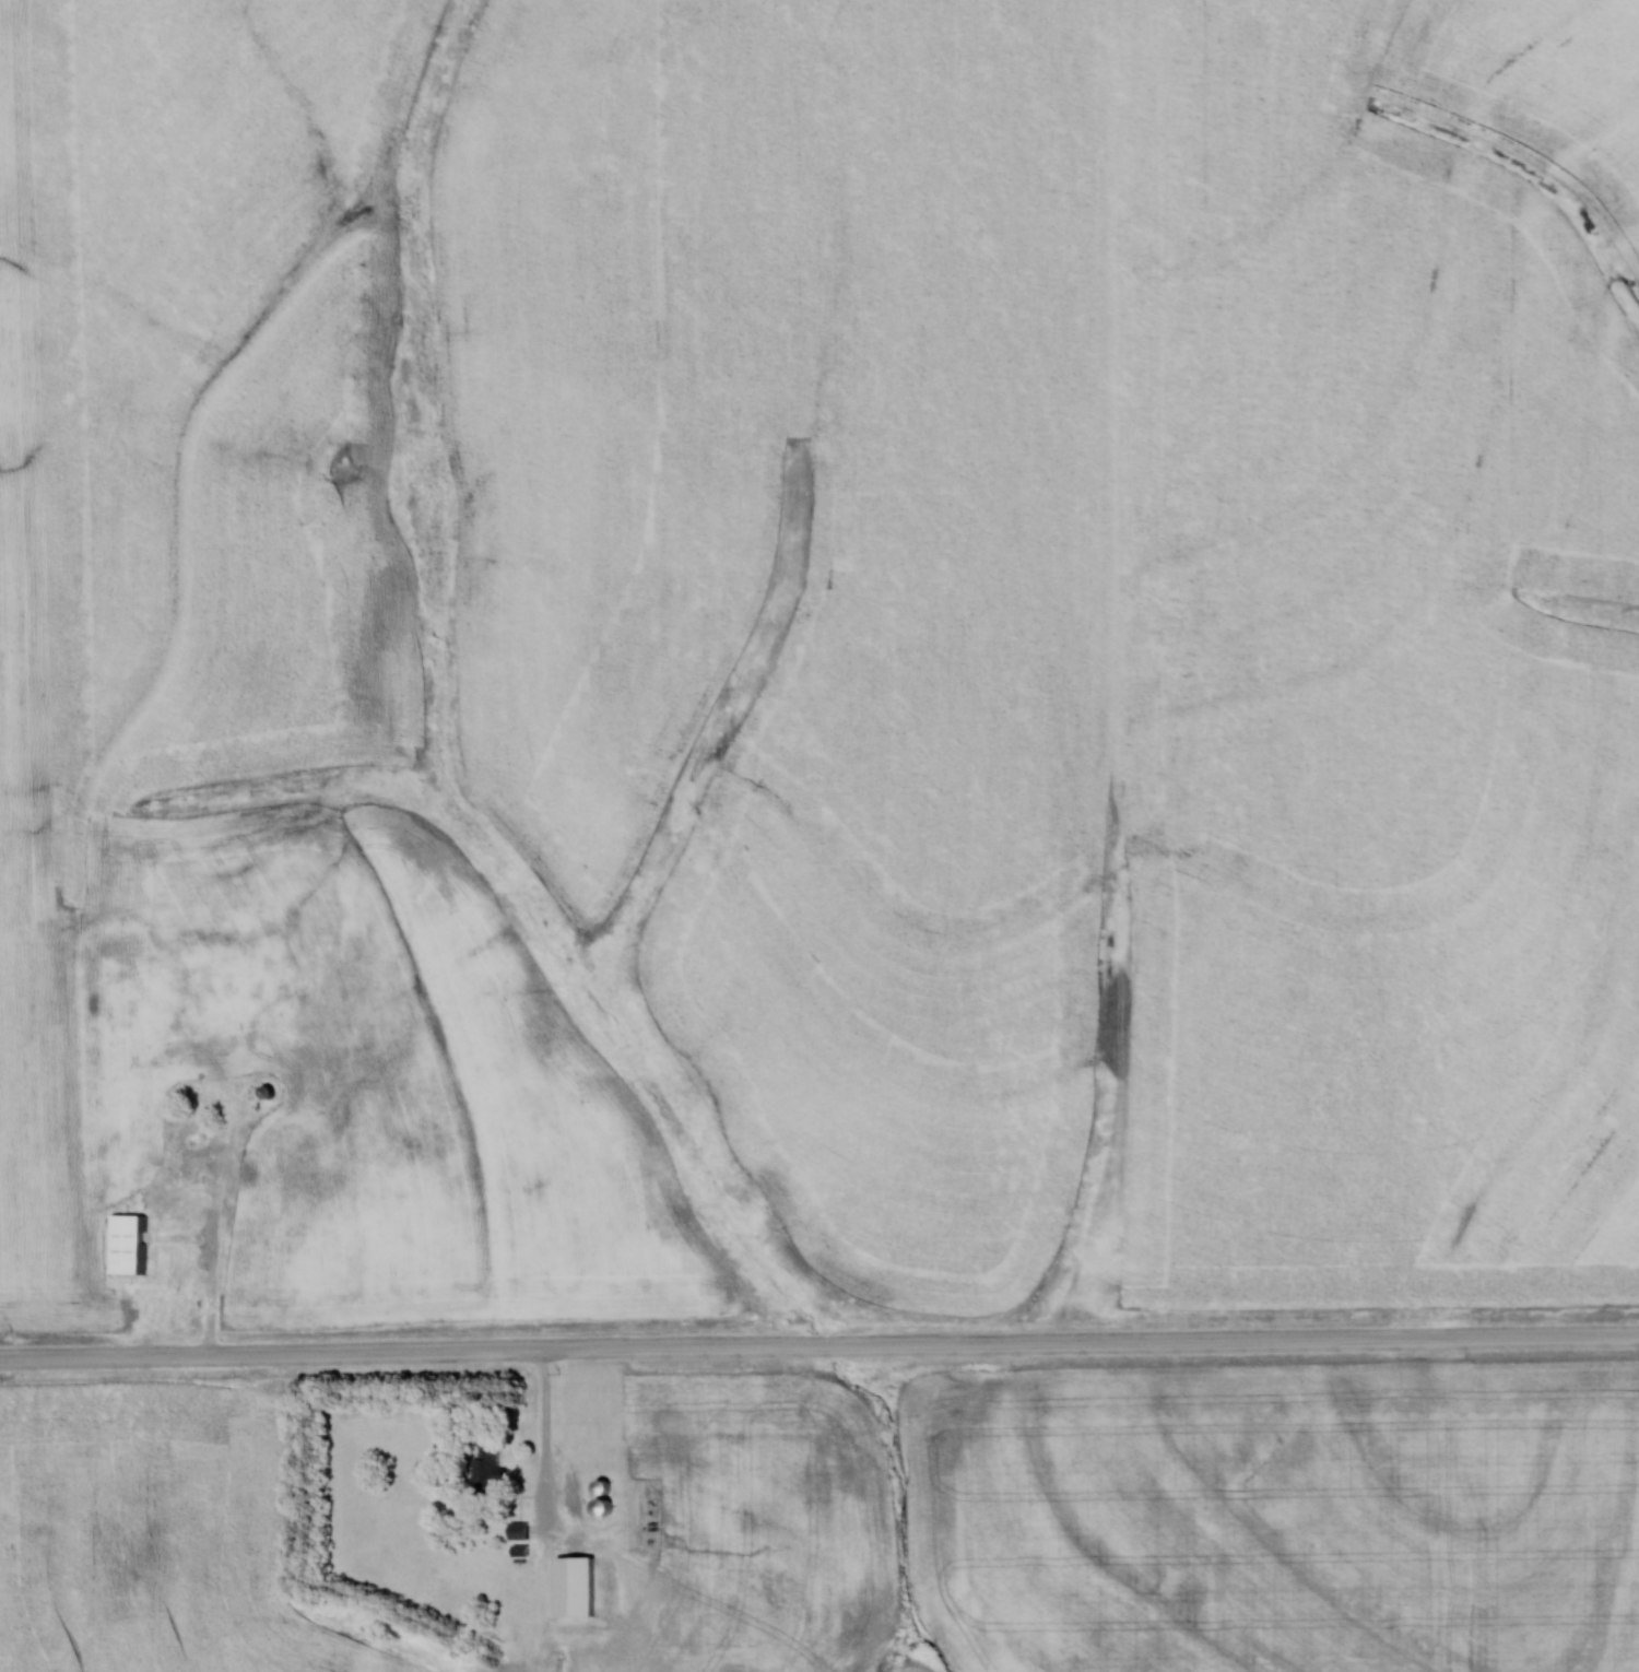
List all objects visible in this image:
building: (261, 1131)
building: (127, 1244)
road: (216, 1253)
road: (818, 1349)
building: (587, 1410)
building: (490, 1464)
road: (551, 1511)
building: (598, 1561)

